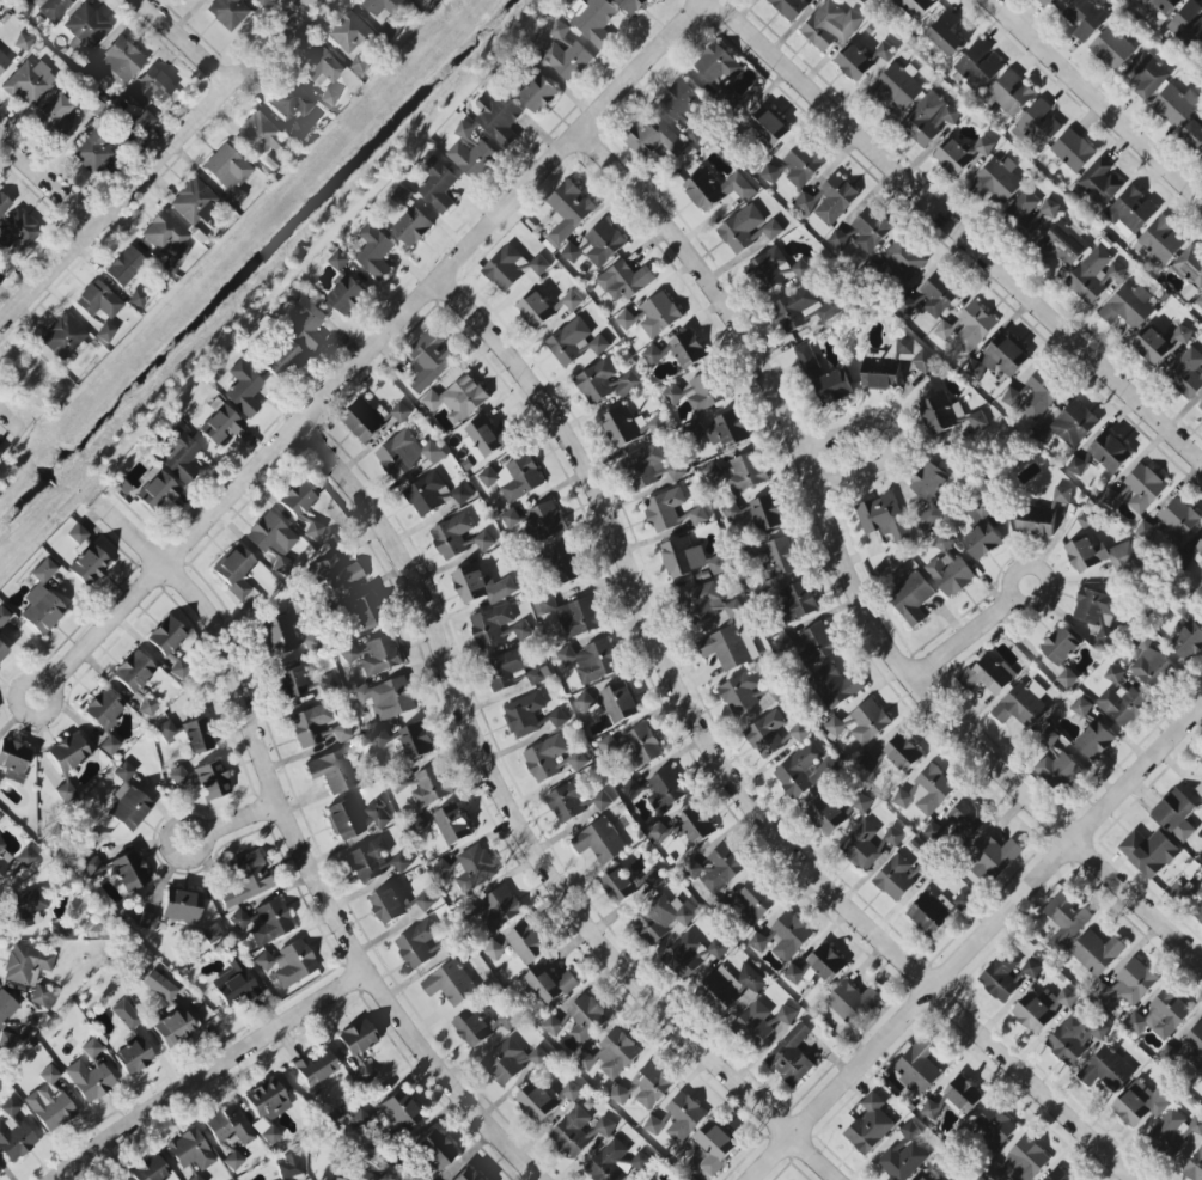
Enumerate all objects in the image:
building: (193, 0)
building: (1048, 1)
building: (261, 2)
building: (630, 5)
building: (1159, 5)
building: (0, 7)
building: (23, 7)
building: (388, 7)
building: (789, 7)
building: (916, 7)
building: (54, 8)
building: (227, 12)
building: (1086, 18)
building: (593, 20)
building: (1189, 24)
building: (830, 25)
building: (87, 26)
building: (353, 33)
building: (946, 35)
building: (23, 42)
road: (187, 42)
building: (1111, 49)
building: (884, 51)
building: (566, 54)
building: (121, 61)
building: (4, 62)
building: (854, 63)
building: (360, 65)
building: (714, 65)
building: (322, 66)
building: (978, 66)
building: (91, 73)
building: (1146, 75)
building: (30, 82)
building: (151, 87)
building: (897, 87)
building: (538, 94)
building: (1009, 94)
building: (328, 97)
building: (291, 100)
building: (681, 100)
road: (1094, 100)
building: (1176, 105)
building: (55, 116)
building: (499, 118)
building: (928, 118)
building: (144, 122)
building: (1038, 126)
building: (768, 127)
building: (464, 130)
building: (257, 136)
building: (1194, 136)
building: (653, 137)
building: (1073, 151)
building: (92, 152)
building: (960, 155)
building: (472, 158)
road: (157, 163)
building: (803, 165)
building: (226, 167)
building: (769, 173)
road: (48, 179)
building: (996, 181)
building: (1100, 182)
building: (439, 188)
building: (715, 190)
building: (191, 201)
building: (828, 201)
building: (4, 204)
building: (1049, 209)
building: (568, 213)
building: (1130, 213)
building: (1025, 214)
building: (413, 227)
building: (17, 230)
building: (742, 230)
building: (771, 230)
building: (871, 230)
road: (954, 232)
building: (838, 239)
building: (166, 240)
building: (1161, 240)
building: (1063, 243)
building: (604, 244)
building: (374, 251)
building: (571, 253)
building: (338, 261)
building: (903, 261)
building: (124, 267)
building: (512, 268)
building: (801, 269)
building: (769, 270)
building: (1190, 271)
building: (1094, 276)
road: (433, 282)
building: (623, 282)
building: (346, 295)
building: (932, 296)
building: (136, 299)
building: (98, 300)
building: (1198, 300)
building: (572, 301)
building: (1128, 307)
building: (536, 310)
building: (803, 310)
building: (659, 314)
building: (628, 320)
building: (306, 323)
building: (974, 328)
building: (944, 330)
building: (105, 332)
building: (62, 336)
building: (575, 342)
building: (1152, 346)
building: (688, 349)
building: (652, 355)
building: (999, 359)
building: (282, 361)
building: (429, 361)
building: (893, 365)
building: (33, 371)
building: (1186, 373)
building: (823, 379)
building: (604, 383)
building: (243, 390)
building: (697, 393)
building: (1032, 396)
building: (458, 399)
building: (1200, 409)
building: (401, 412)
building: (940, 414)
road: (10, 420)
building: (365, 420)
building: (977, 421)
building: (1074, 424)
building: (220, 426)
building: (655, 426)
building: (621, 427)
building: (727, 430)
road: (895, 435)
building: (486, 439)
building: (1, 451)
building: (1109, 453)
building: (405, 454)
building: (179, 458)
building: (1076, 466)
building: (651, 467)
building: (746, 472)
building: (710, 473)
building: (487, 477)
building: (521, 479)
building: (928, 482)
building: (1143, 489)
building: (155, 490)
building: (434, 494)
building: (1061, 495)
building: (298, 497)
building: (1116, 497)
building: (670, 512)
building: (758, 513)
building: (511, 519)
building: (883, 519)
building: (928, 519)
building: (545, 520)
building: (1084, 521)
building: (1177, 521)
building: (1036, 522)
building: (312, 528)
building: (1145, 531)
building: (78, 534)
road: (129, 536)
building: (273, 537)
building: (451, 537)
building: (483, 540)
building: (981, 540)
building: (1197, 555)
building: (1103, 557)
building: (690, 558)
building: (780, 558)
building: (566, 564)
building: (90, 565)
building: (234, 570)
building: (334, 574)
building: (950, 574)
road: (847, 579)
building: (480, 586)
building: (911, 599)
building: (42, 601)
building: (795, 601)
building: (707, 604)
road: (1027, 604)
building: (1094, 609)
building: (364, 611)
building: (572, 615)
building: (2, 616)
road: (105, 624)
building: (490, 625)
building: (523, 631)
building: (277, 635)
building: (166, 636)
road: (960, 640)
building: (1188, 641)
building: (310, 642)
building: (809, 644)
building: (1060, 647)
building: (724, 648)
building: (2, 652)
building: (350, 653)
building: (379, 656)
building: (592, 661)
building: (1151, 666)
building: (508, 668)
building: (181, 670)
building: (134, 671)
building: (989, 674)
building: (536, 677)
road: (37, 678)
building: (1063, 679)
building: (291, 681)
building: (327, 684)
building: (836, 686)
building: (739, 693)
building: (388, 698)
building: (584, 702)
building: (620, 703)
building: (1021, 705)
building: (1123, 705)
building: (147, 707)
building: (1081, 707)
building: (103, 710)
building: (523, 715)
building: (557, 719)
building: (860, 723)
building: (310, 724)
building: (166, 730)
building: (338, 733)
building: (765, 733)
building: (799, 733)
building: (197, 736)
building: (407, 739)
building: (1047, 739)
building: (1094, 741)
building: (109, 745)
building: (608, 745)
building: (68, 752)
building: (902, 753)
building: (551, 759)
building: (13, 760)
building: (868, 762)
building: (1200, 764)
building: (334, 771)
building: (803, 771)
building: (1057, 771)
building: (123, 772)
road: (724, 774)
building: (182, 779)
building: (212, 781)
building: (429, 788)
building: (1198, 789)
building: (630, 790)
building: (666, 790)
building: (926, 791)
building: (66, 793)
building: (569, 801)
building: (602, 801)
building: (861, 803)
building: (129, 809)
building: (1173, 811)
building: (825, 813)
building: (379, 814)
road: (239, 819)
building: (966, 819)
building: (343, 820)
building: (452, 825)
building: (684, 829)
road: (521, 832)
building: (934, 832)
building: (893, 837)
road: (205, 842)
building: (599, 842)
building: (862, 846)
building: (1148, 852)
building: (28, 856)
building: (995, 856)
building: (5, 858)
building: (367, 860)
building: (401, 862)
building: (96, 867)
building: (475, 867)
building: (445, 868)
building: (722, 869)
building: (130, 872)
building: (654, 879)
building: (895, 879)
building: (246, 880)
building: (618, 886)
road: (319, 891)
building: (1198, 893)
building: (756, 899)
building: (426, 900)
building: (963, 901)
building: (182, 906)
building: (388, 906)
building: (26, 909)
building: (499, 909)
building: (929, 912)
building: (1197, 912)
building: (663, 918)
building: (1066, 919)
building: (147, 921)
building: (239, 921)
building: (270, 923)
building: (212, 934)
building: (789, 936)
building: (526, 942)
building: (758, 942)
road: (975, 942)
building: (416, 944)
building: (493, 950)
building: (1096, 953)
building: (690, 955)
building: (264, 961)
building: (25, 964)
building: (294, 964)
building: (818, 966)
building: (1031, 970)
building: (999, 978)
building: (751, 979)
building: (234, 984)
building: (451, 984)
building: (550, 984)
building: (1128, 984)
building: (160, 986)
building: (720, 991)
building: (43, 997)
building: (852, 1003)
building: (6, 1008)
building: (1042, 1009)
building: (126, 1014)
building: (1161, 1016)
building: (585, 1017)
building: (761, 1022)
building: (551, 1026)
building: (478, 1027)
building: (173, 1028)
building: (1073, 1039)
building: (1195, 1046)
building: (359, 1047)
building: (91, 1048)
building: (611, 1056)
building: (134, 1057)
building: (791, 1057)
building: (511, 1062)
building: (919, 1066)
building: (315, 1069)
building: (1106, 1070)
road: (212, 1072)
building: (90, 1081)
building: (643, 1087)
building: (1201, 1087)
building: (962, 1095)
building: (268, 1100)
building: (543, 1100)
building: (49, 1102)
building: (1141, 1103)
building: (401, 1111)
building: (931, 1111)
building: (677, 1118)
building: (228, 1125)
building: (870, 1125)
building: (994, 1129)
building: (578, 1132)
building: (14, 1133)
building: (1174, 1133)
building: (270, 1135)
building: (715, 1147)
building: (190, 1150)
building: (434, 1150)
building: (903, 1155)
building: (233, 1161)
building: (1024, 1161)
building: (615, 1162)
building: (1195, 1166)
building: (288, 1167)
building: (150, 1169)
building: (0, 1170)
building: (362, 1175)
building: (466, 1175)
building: (1058, 1175)
building: (195, 1178)
building: (920, 1178)

